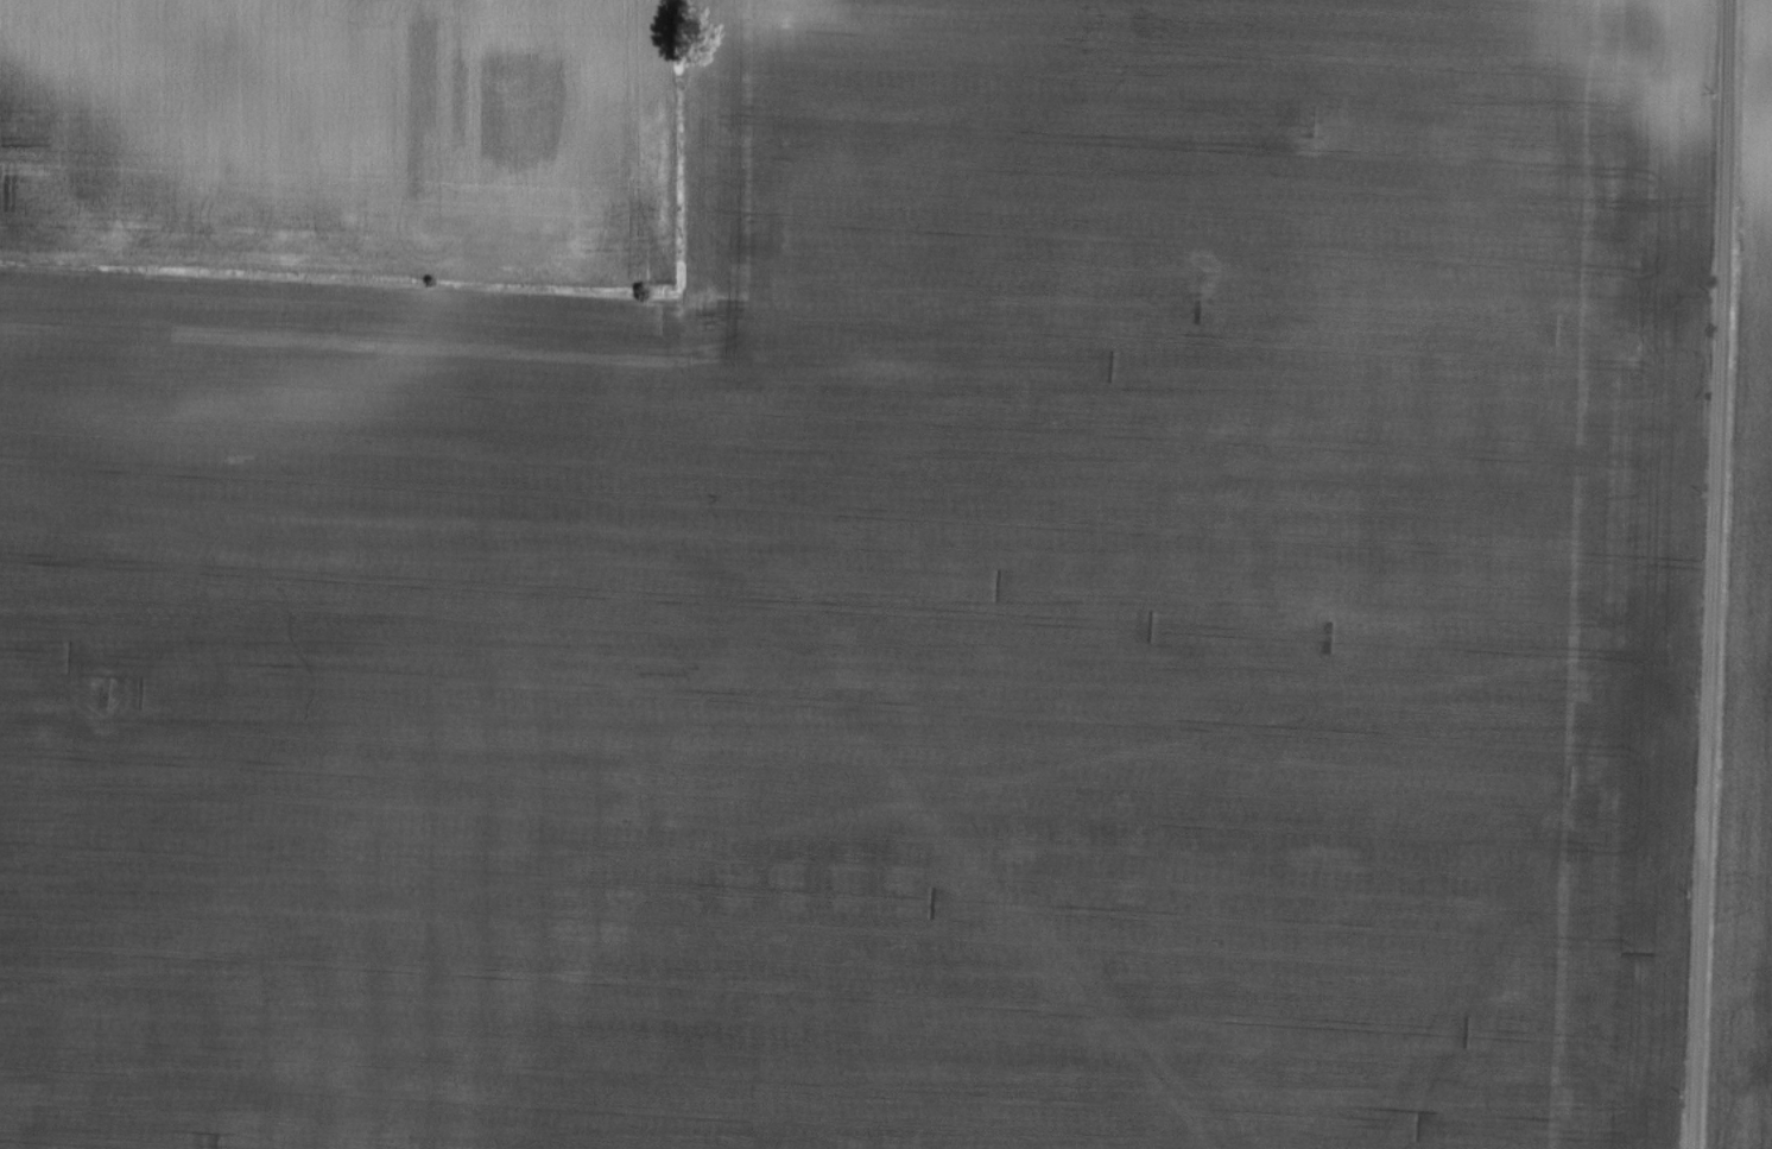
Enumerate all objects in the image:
road: (1707, 574)

